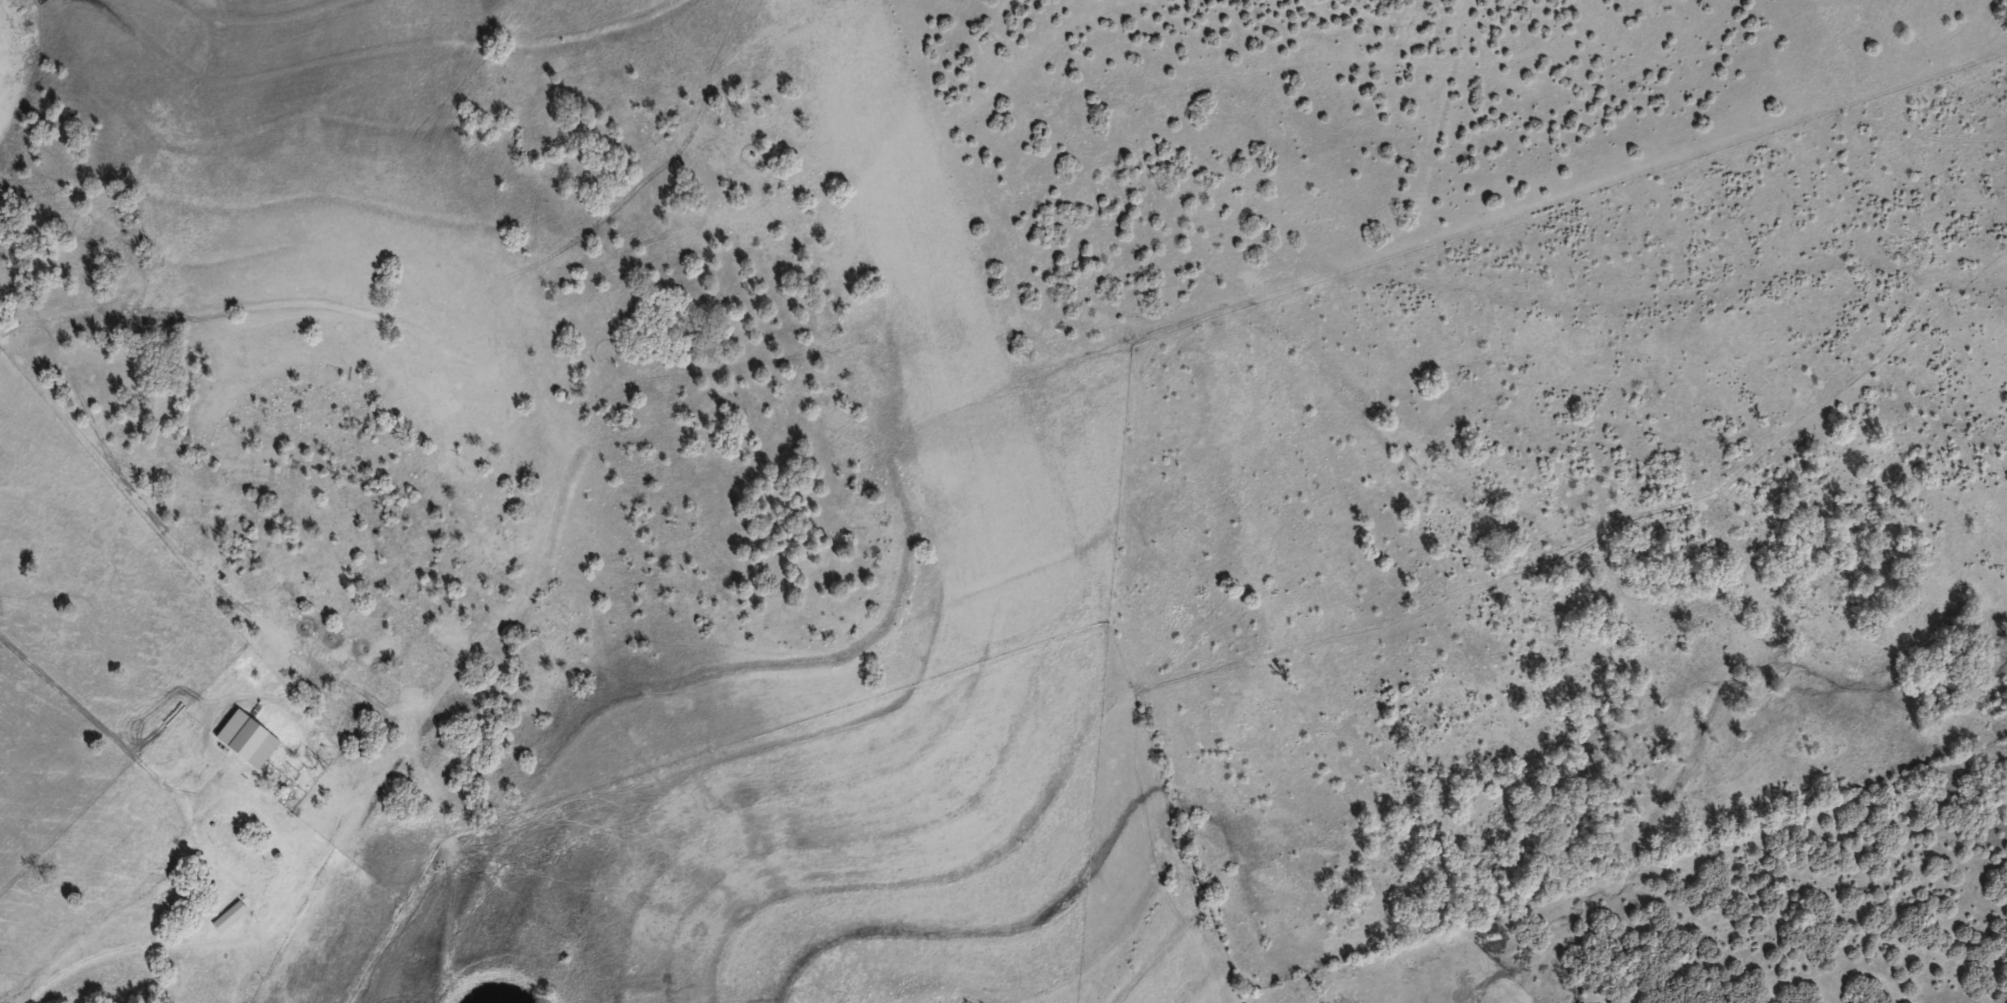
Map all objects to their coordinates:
building: (248, 739)
building: (229, 916)

